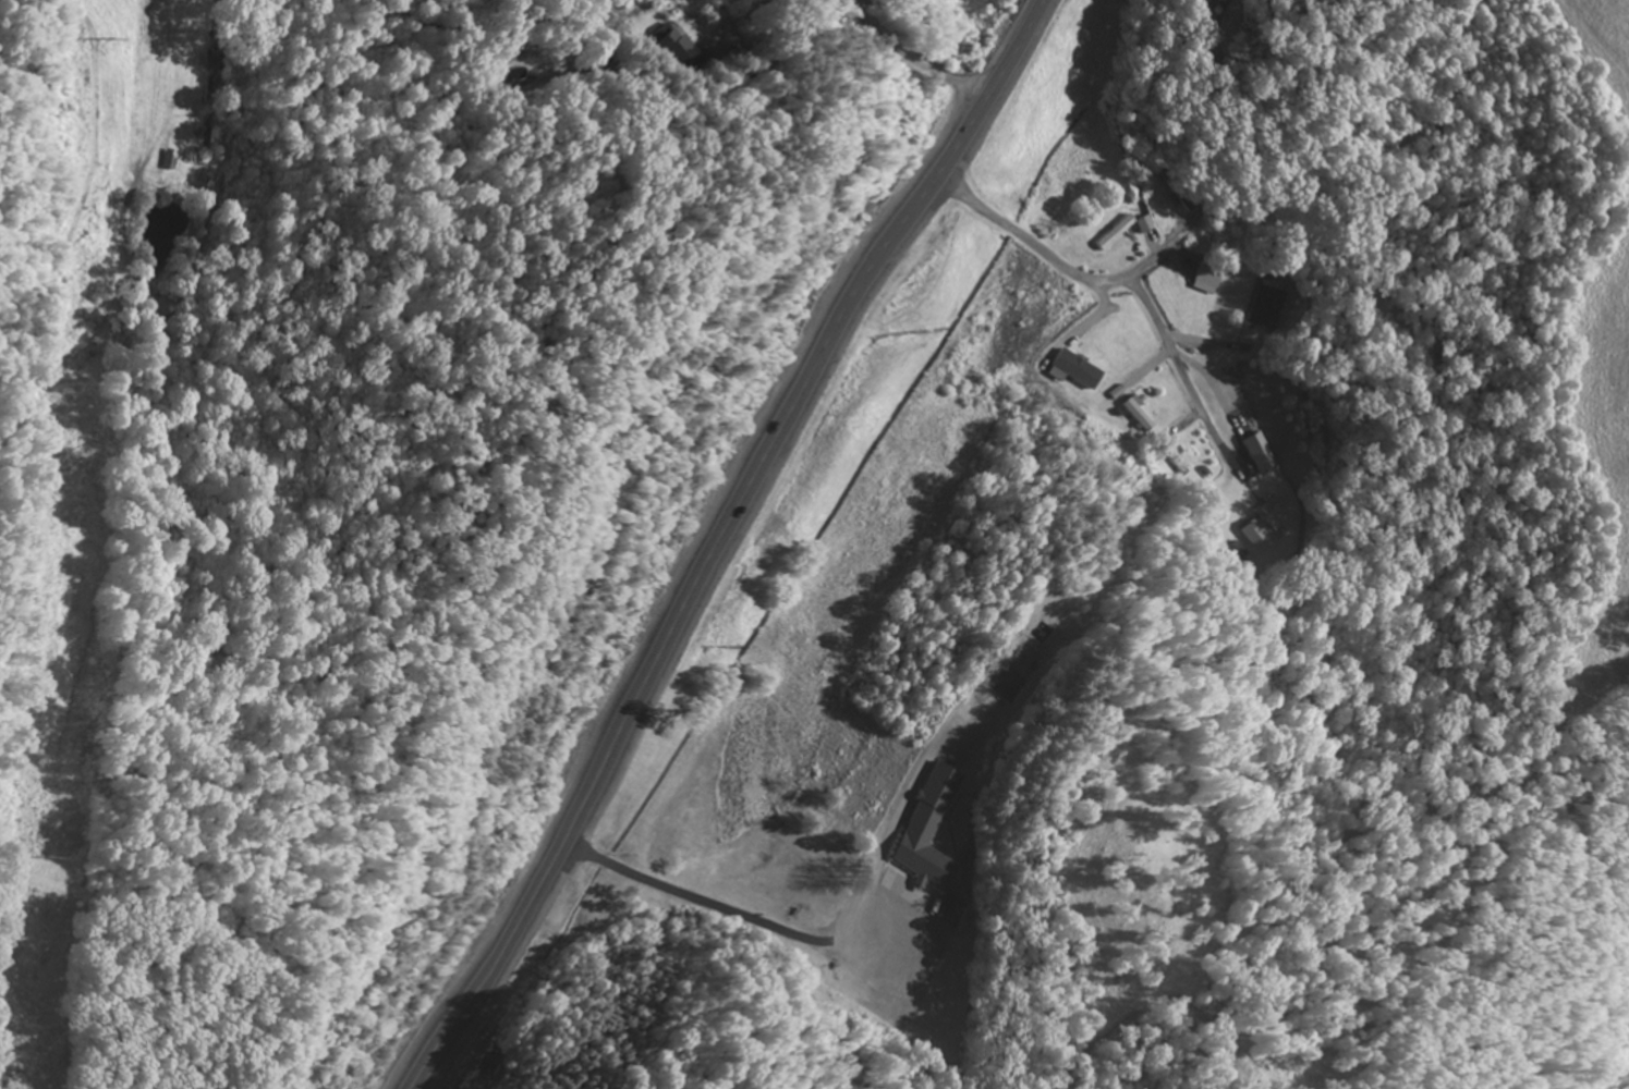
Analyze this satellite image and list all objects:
building: (680, 52)
building: (1174, 191)
building: (1109, 235)
building: (1207, 278)
road: (1110, 282)
building: (1131, 416)
building: (1171, 464)
building: (1255, 525)
road: (724, 539)
building: (927, 843)

